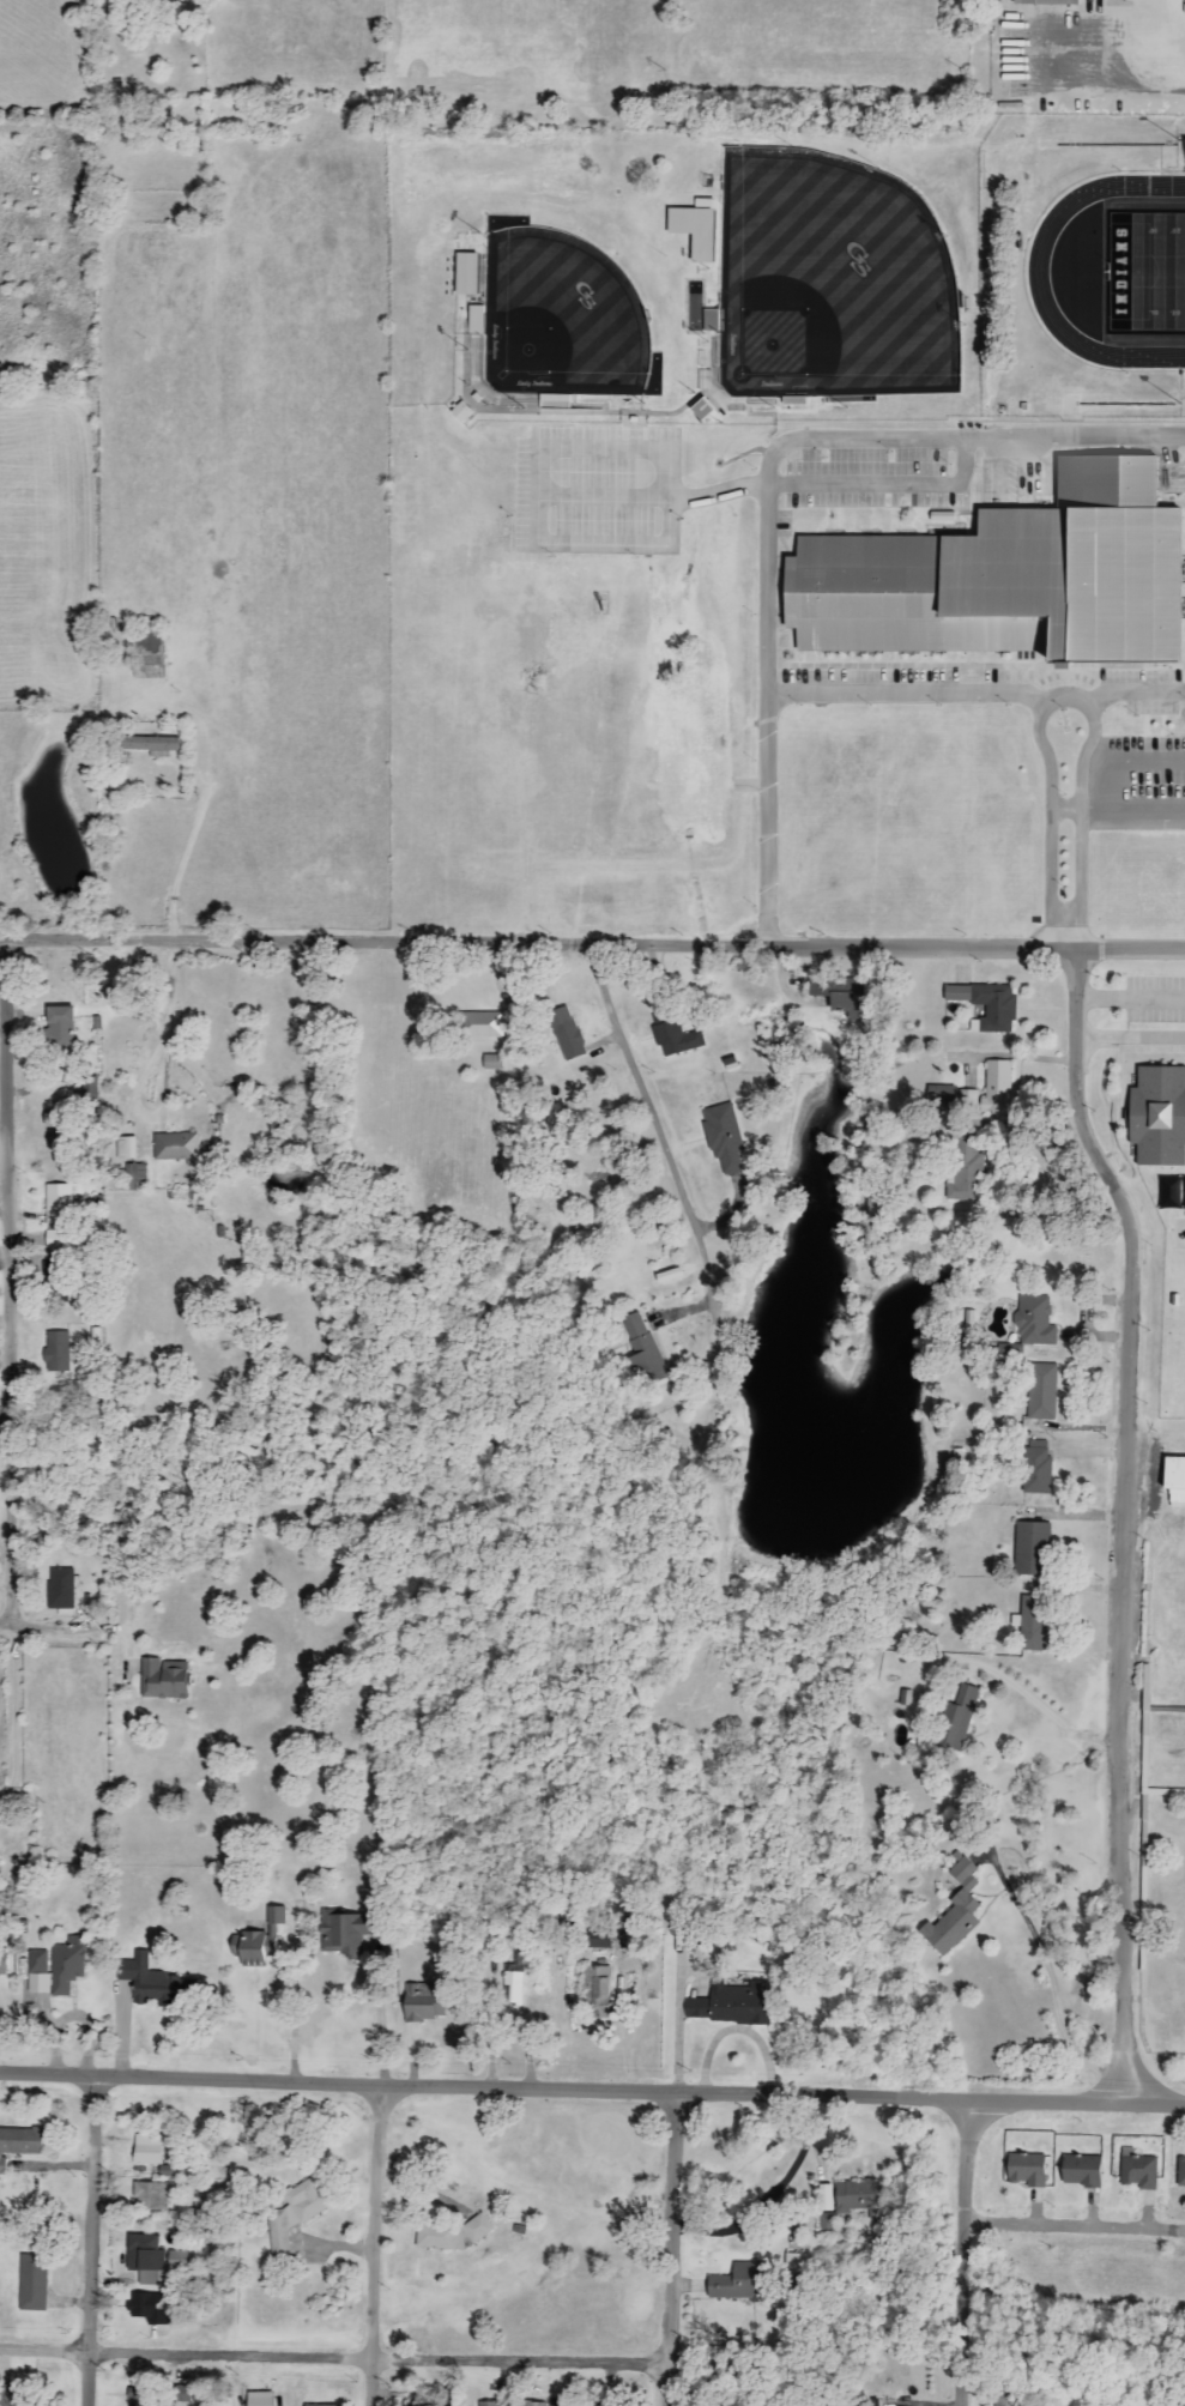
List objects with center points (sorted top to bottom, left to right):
building: (1045, 2)
power tower: (962, 69)
power tower: (379, 72)
power tower: (659, 72)
power tower: (92, 73)
road: (1124, 87)
building: (694, 229)
building: (464, 273)
building: (474, 320)
building: (461, 412)
road: (857, 436)
road: (885, 484)
building: (1005, 578)
building: (146, 657)
road: (974, 690)
building: (150, 744)
road: (1127, 757)
road: (1048, 805)
road: (1064, 805)
road: (1080, 805)
road: (1132, 805)
road: (766, 820)
road: (1065, 932)
road: (592, 949)
building: (839, 995)
road: (1129, 995)
building: (987, 1004)
building: (60, 1021)
building: (483, 1026)
building: (567, 1033)
road: (1129, 1034)
building: (676, 1040)
building: (491, 1063)
road: (146, 1070)
building: (991, 1089)
building: (941, 1093)
building: (1157, 1116)
road: (660, 1135)
building: (724, 1138)
building: (126, 1147)
building: (176, 1148)
building: (965, 1171)
building: (1168, 1193)
building: (1184, 1199)
road: (2, 1203)
building: (58, 1204)
building: (872, 1207)
road: (986, 1210)
building: (53, 1238)
road: (6, 1277)
building: (1034, 1322)
building: (642, 1348)
building: (1008, 1350)
building: (58, 1352)
building: (1041, 1391)
road: (2, 1415)
building: (1036, 1467)
building: (1174, 1481)
road: (1121, 1519)
building: (1030, 1548)
building: (61, 1588)
road: (4, 1619)
building: (1030, 1624)
road: (77, 1628)
building: (164, 1679)
building: (906, 1698)
road: (1040, 1704)
road: (13, 1715)
building: (960, 1719)
building: (954, 1912)
building: (343, 1932)
building: (599, 1939)
building: (256, 1940)
building: (2, 1961)
building: (55, 1967)
road: (1051, 1976)
building: (153, 1983)
building: (597, 1991)
building: (422, 2001)
road: (295, 2003)
building: (731, 2003)
road: (379, 2013)
road: (73, 2017)
road: (592, 2090)
building: (19, 2142)
building: (147, 2153)
building: (1026, 2169)
building: (167, 2171)
building: (1081, 2171)
building: (1139, 2171)
building: (1181, 2174)
building: (151, 2196)
building: (861, 2198)
road: (772, 2201)
building: (295, 2214)
road: (1074, 2221)
building: (827, 2226)
building: (447, 2235)
road: (91, 2241)
road: (376, 2244)
road: (667, 2248)
road: (962, 2253)
building: (179, 2260)
building: (797, 2261)
building: (742, 2283)
building: (32, 2284)
building: (151, 2309)
road: (332, 2360)
building: (19, 2394)
building: (1005, 2398)
building: (135, 2399)
building: (259, 2399)
building: (489, 2404)
building: (537, 2404)
building: (591, 2404)
building: (322, 2405)

